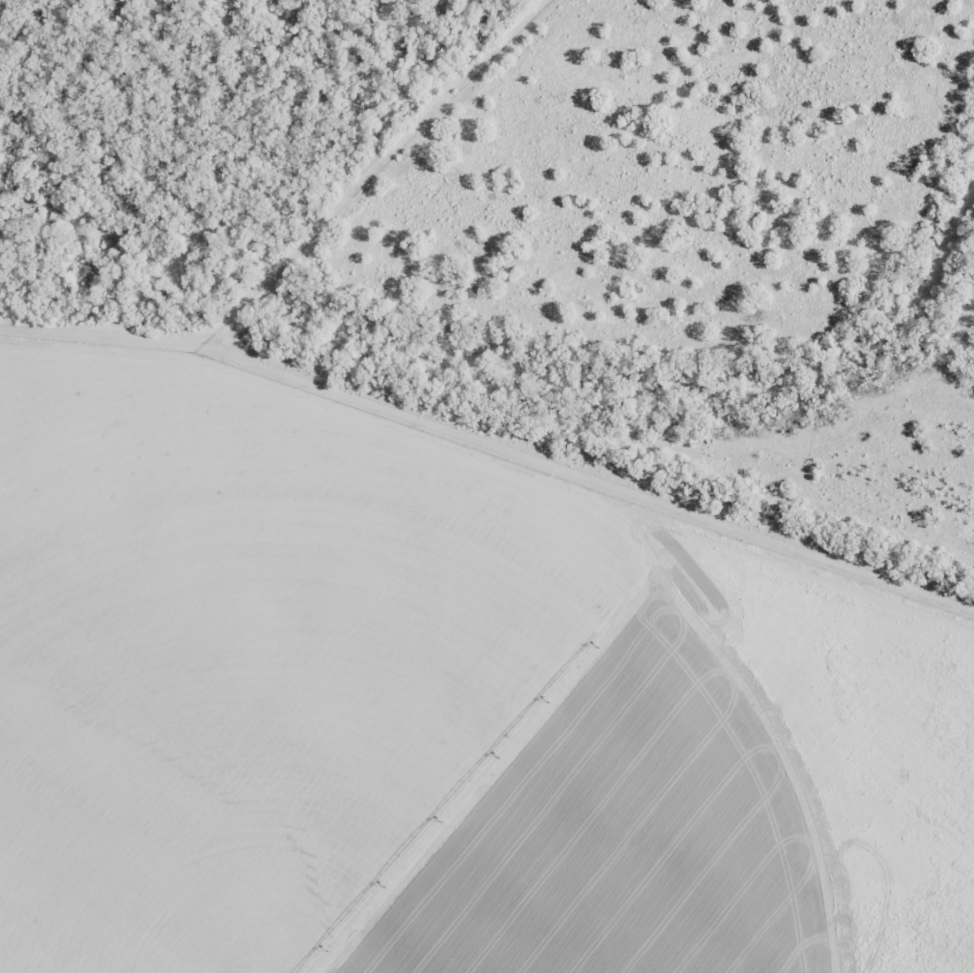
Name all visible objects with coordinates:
road: (445, 380)

